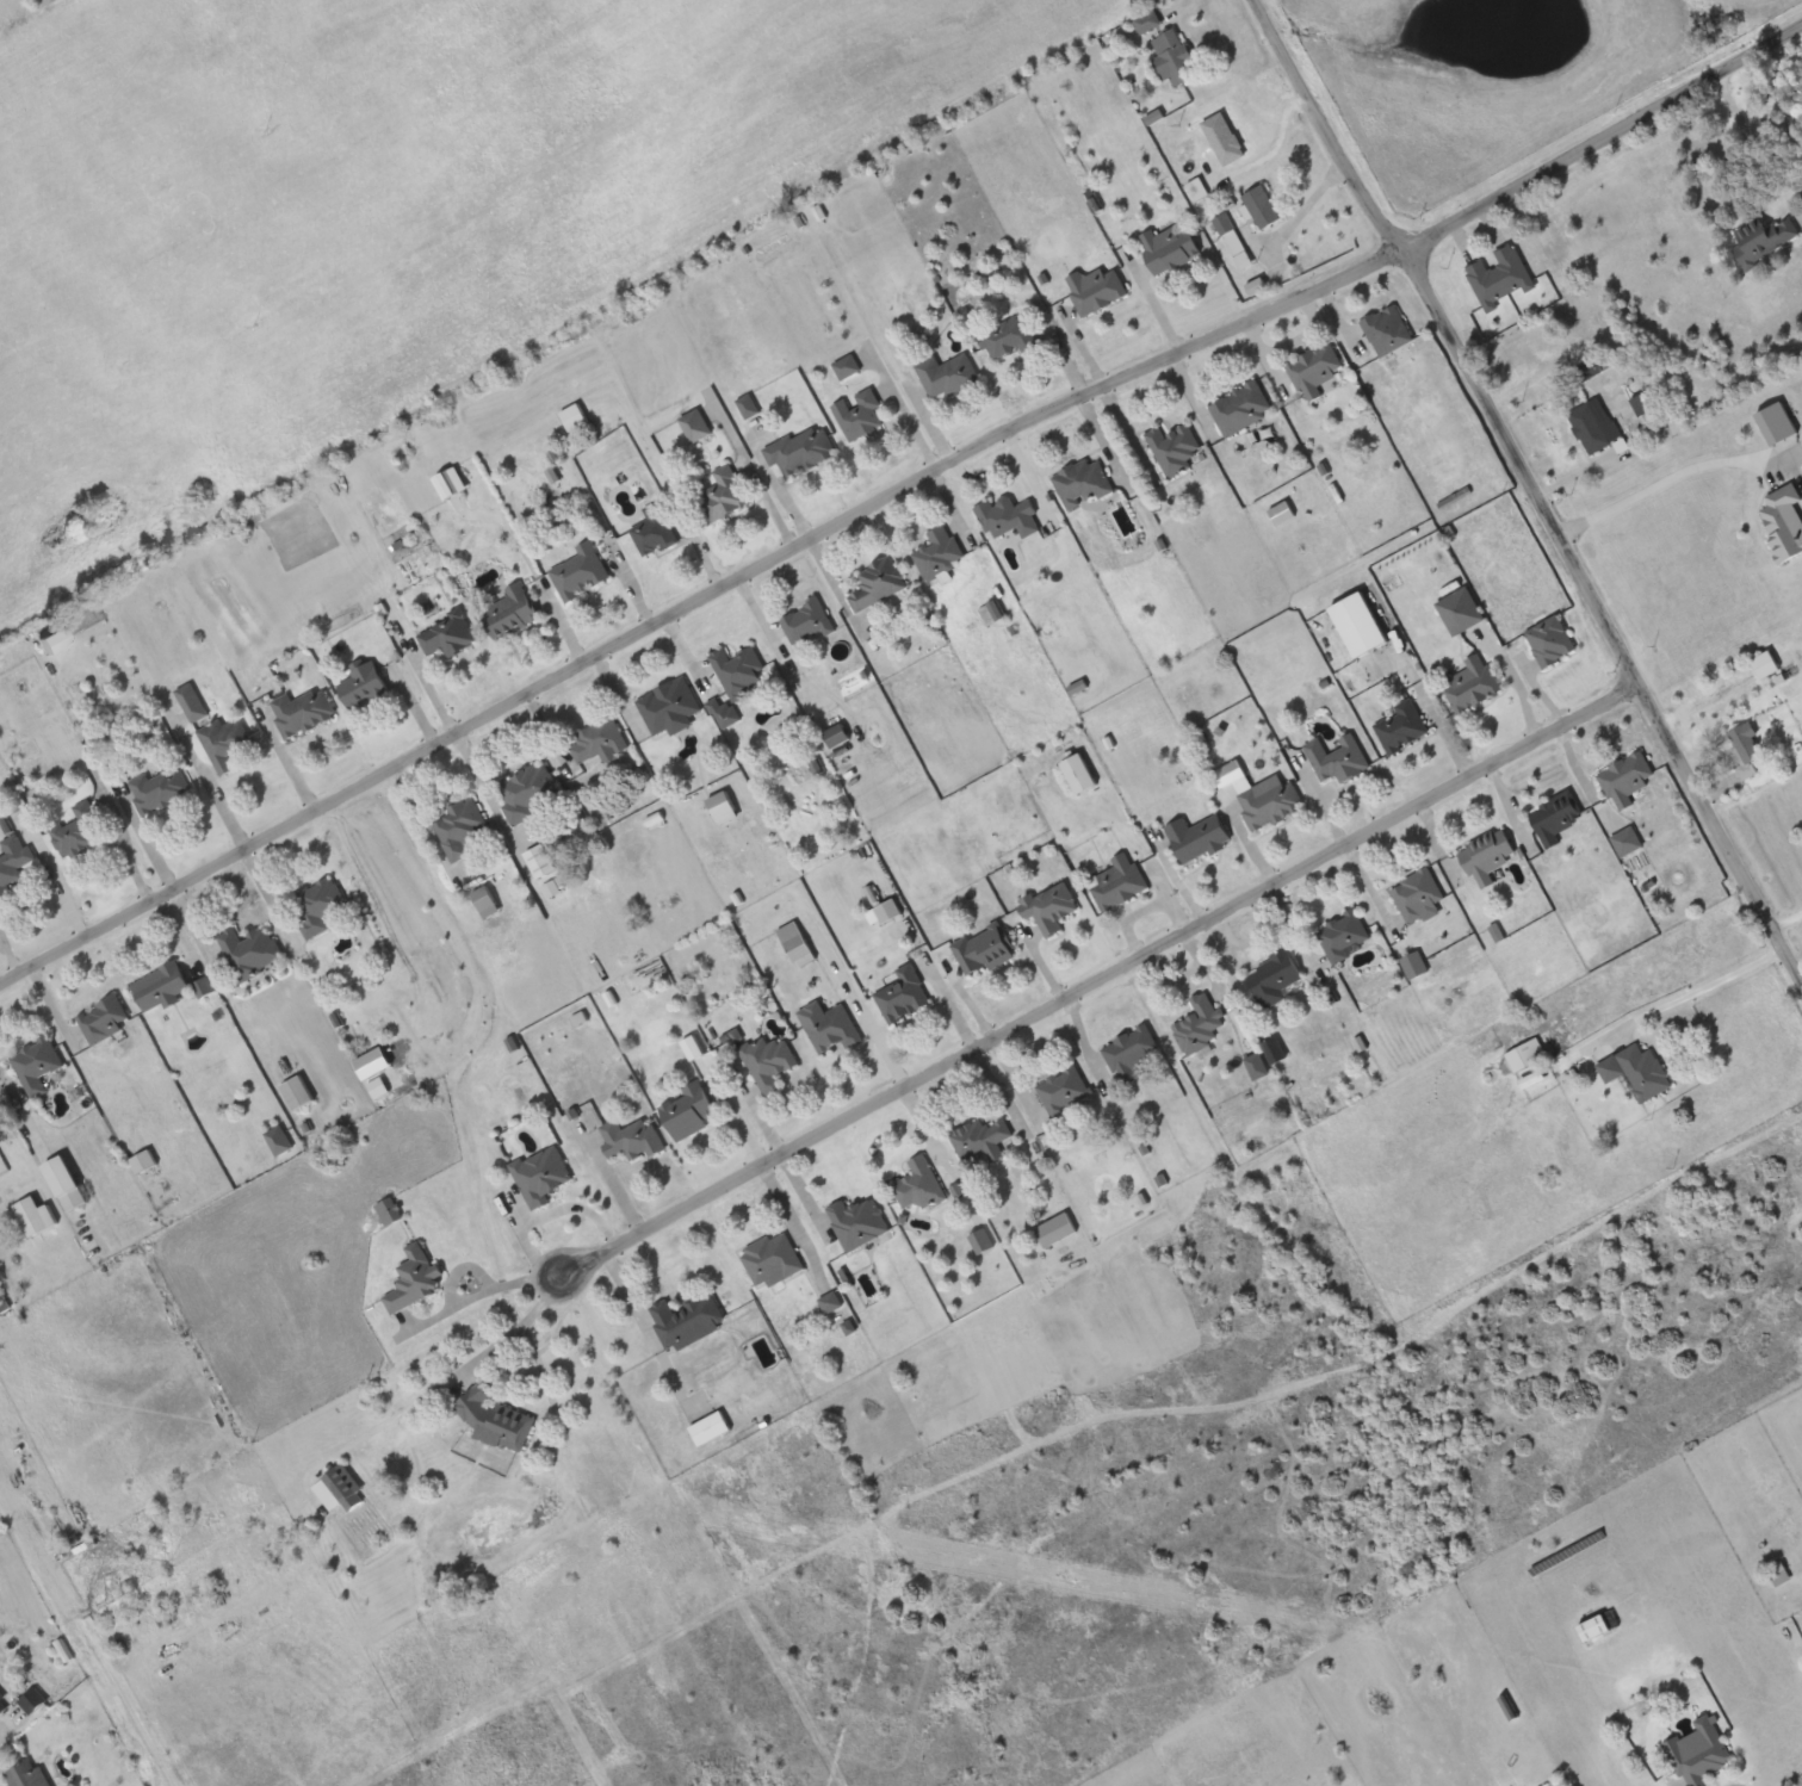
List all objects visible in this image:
building: (1148, 23)
building: (1174, 58)
building: (1263, 207)
building: (1764, 240)
building: (1234, 242)
building: (1170, 248)
building: (1500, 277)
building: (1096, 290)
building: (1388, 330)
building: (1009, 337)
building: (848, 366)
building: (1314, 370)
building: (947, 374)
building: (749, 405)
building: (1241, 409)
building: (860, 415)
building: (575, 417)
building: (1777, 423)
building: (1594, 424)
building: (696, 426)
building: (1174, 448)
building: (801, 449)
road: (1672, 475)
building: (1083, 483)
building: (452, 484)
road: (1534, 491)
road: (894, 494)
building: (724, 495)
building: (1282, 513)
building: (1008, 517)
building: (1784, 521)
building: (654, 529)
building: (940, 553)
building: (580, 571)
building: (878, 583)
building: (1461, 610)
building: (512, 613)
building: (806, 622)
building: (1360, 625)
building: (447, 634)
building: (56, 639)
building: (1552, 641)
building: (1765, 664)
building: (738, 671)
building: (1473, 683)
building: (364, 684)
building: (192, 702)
building: (670, 707)
building: (303, 713)
building: (1401, 727)
building: (599, 742)
building: (225, 743)
building: (1747, 748)
building: (1338, 758)
building: (1079, 774)
building: (1625, 780)
building: (161, 789)
building: (528, 790)
building: (1270, 802)
building: (724, 807)
building: (1555, 817)
building: (462, 827)
building: (79, 830)
building: (1199, 837)
building: (1627, 841)
building: (1487, 856)
building: (13, 863)
building: (1117, 881)
building: (1418, 897)
building: (487, 901)
building: (318, 904)
building: (1051, 907)
building: (888, 911)
building: (1344, 936)
building: (795, 942)
building: (984, 950)
building: (250, 951)
building: (1414, 965)
building: (1274, 978)
building: (162, 986)
building: (205, 987)
road: (1086, 987)
building: (904, 994)
building: (104, 1019)
building: (1199, 1025)
building: (834, 1030)
building: (1132, 1053)
building: (1527, 1055)
building: (768, 1061)
building: (36, 1065)
building: (1637, 1071)
building: (1063, 1090)
building: (297, 1092)
building: (691, 1111)
building: (631, 1139)
building: (981, 1139)
building: (279, 1141)
building: (144, 1161)
building: (541, 1176)
building: (919, 1185)
building: (74, 1199)
building: (390, 1211)
building: (859, 1222)
building: (1057, 1229)
building: (981, 1241)
building: (773, 1259)
building: (415, 1278)
building: (687, 1321)
building: (496, 1419)
building: (711, 1428)
building: (340, 1489)
building: (1593, 1627)
building: (4, 1703)
building: (1699, 1751)
building: (27, 1775)

